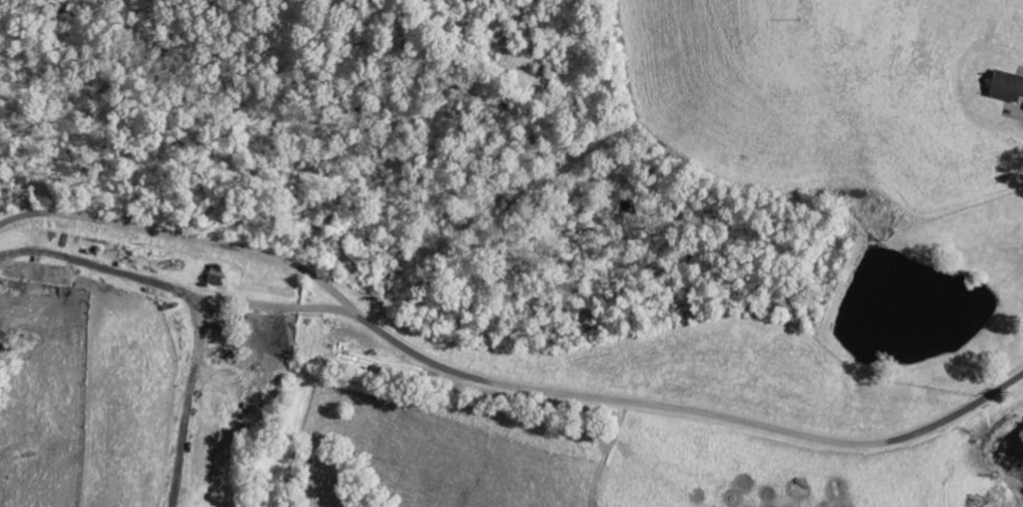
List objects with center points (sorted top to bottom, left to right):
building: (1010, 86)
road: (178, 287)
road: (500, 383)

